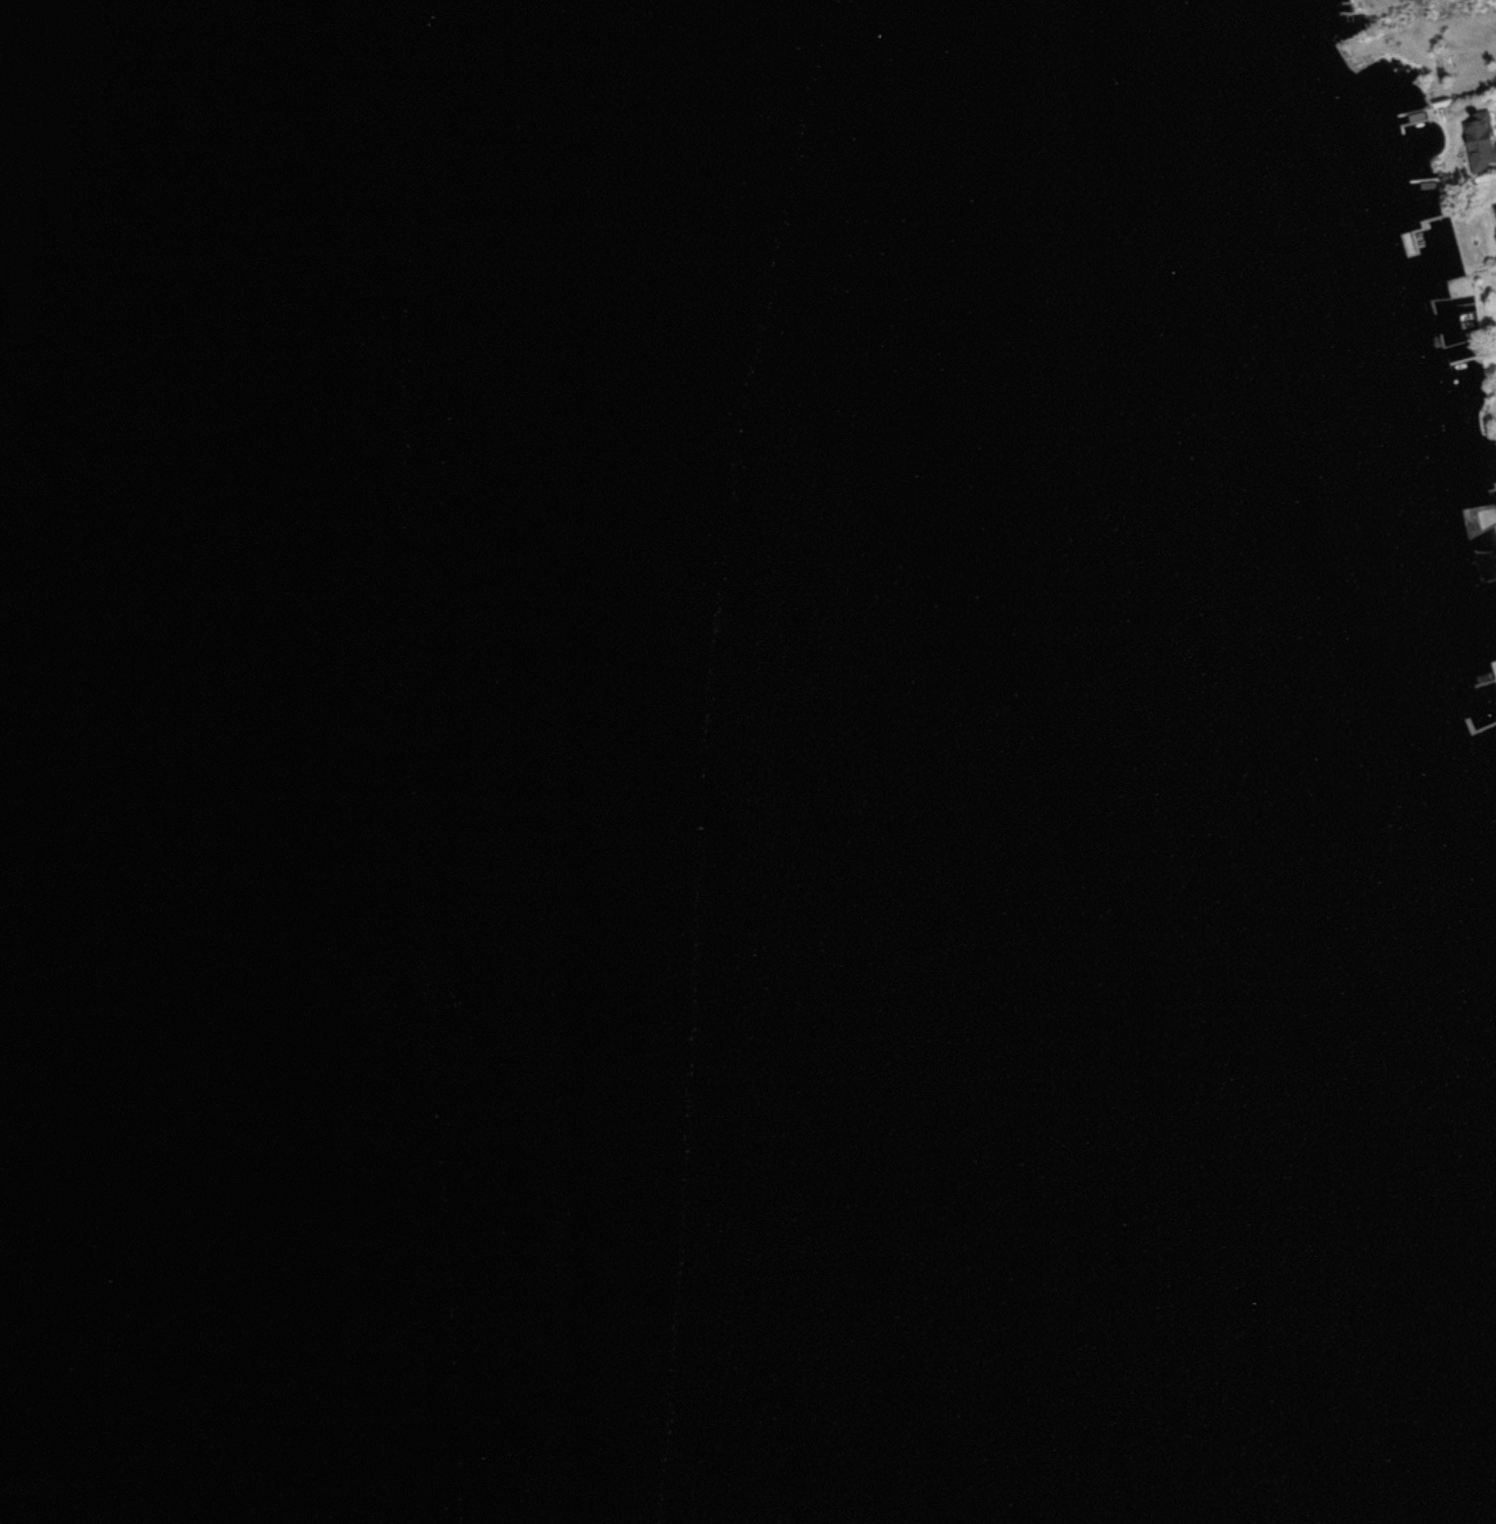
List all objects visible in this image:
building: (1479, 141)
building: (1494, 210)

